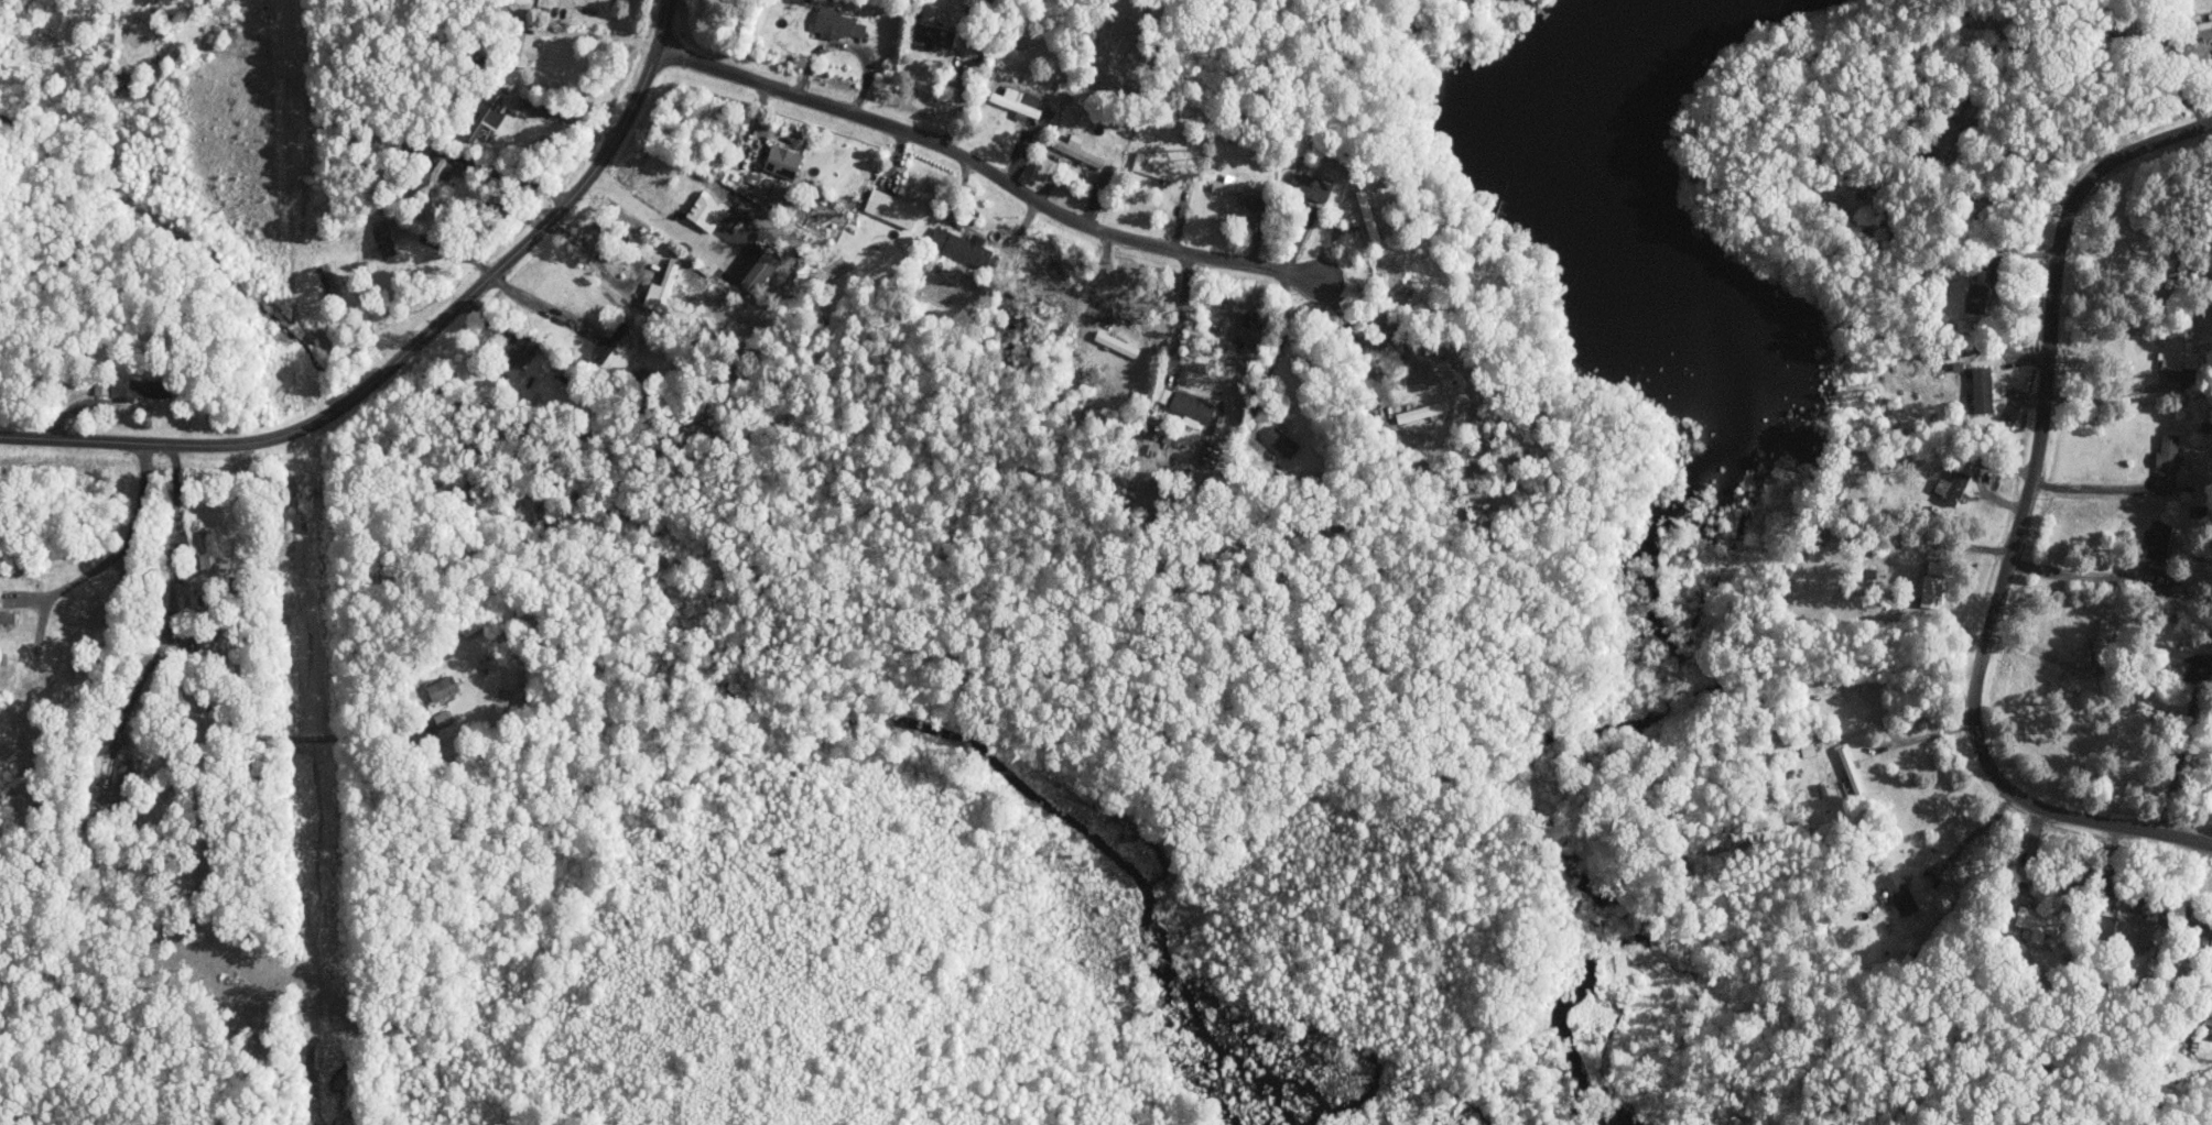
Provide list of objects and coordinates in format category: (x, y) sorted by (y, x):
building: (837, 24)
building: (934, 30)
building: (2205, 31)
road: (592, 35)
building: (527, 50)
building: (1019, 101)
road: (566, 114)
building: (488, 117)
building: (784, 162)
building: (1149, 166)
road: (987, 170)
road: (506, 172)
building: (435, 176)
building: (1311, 187)
building: (1240, 190)
building: (893, 208)
building: (708, 211)
road: (651, 218)
road: (974, 232)
building: (384, 238)
building: (962, 245)
road: (446, 248)
road: (1325, 250)
building: (760, 272)
road: (615, 285)
building: (662, 290)
road: (546, 307)
road: (1181, 314)
road: (1354, 335)
road: (411, 346)
building: (608, 346)
building: (1121, 346)
building: (2181, 352)
building: (516, 359)
road: (1272, 361)
building: (102, 386)
building: (135, 387)
building: (1983, 389)
building: (1164, 394)
building: (1193, 406)
building: (1416, 413)
building: (1282, 440)
building: (2170, 459)
building: (1953, 485)
road: (2093, 488)
power tower: (305, 515)
road: (2019, 525)
building: (2160, 538)
road: (116, 554)
road: (172, 572)
road: (2080, 576)
building: (1933, 585)
building: (8, 616)
building: (2103, 638)
road: (2042, 653)
road: (149, 667)
building: (444, 687)
road: (308, 739)
road: (2178, 760)
building: (124, 769)
road: (1972, 834)
building: (1901, 892)
power tower: (319, 903)
building: (2037, 921)
building: (2134, 929)
building: (2208, 936)
building: (2202, 1048)

